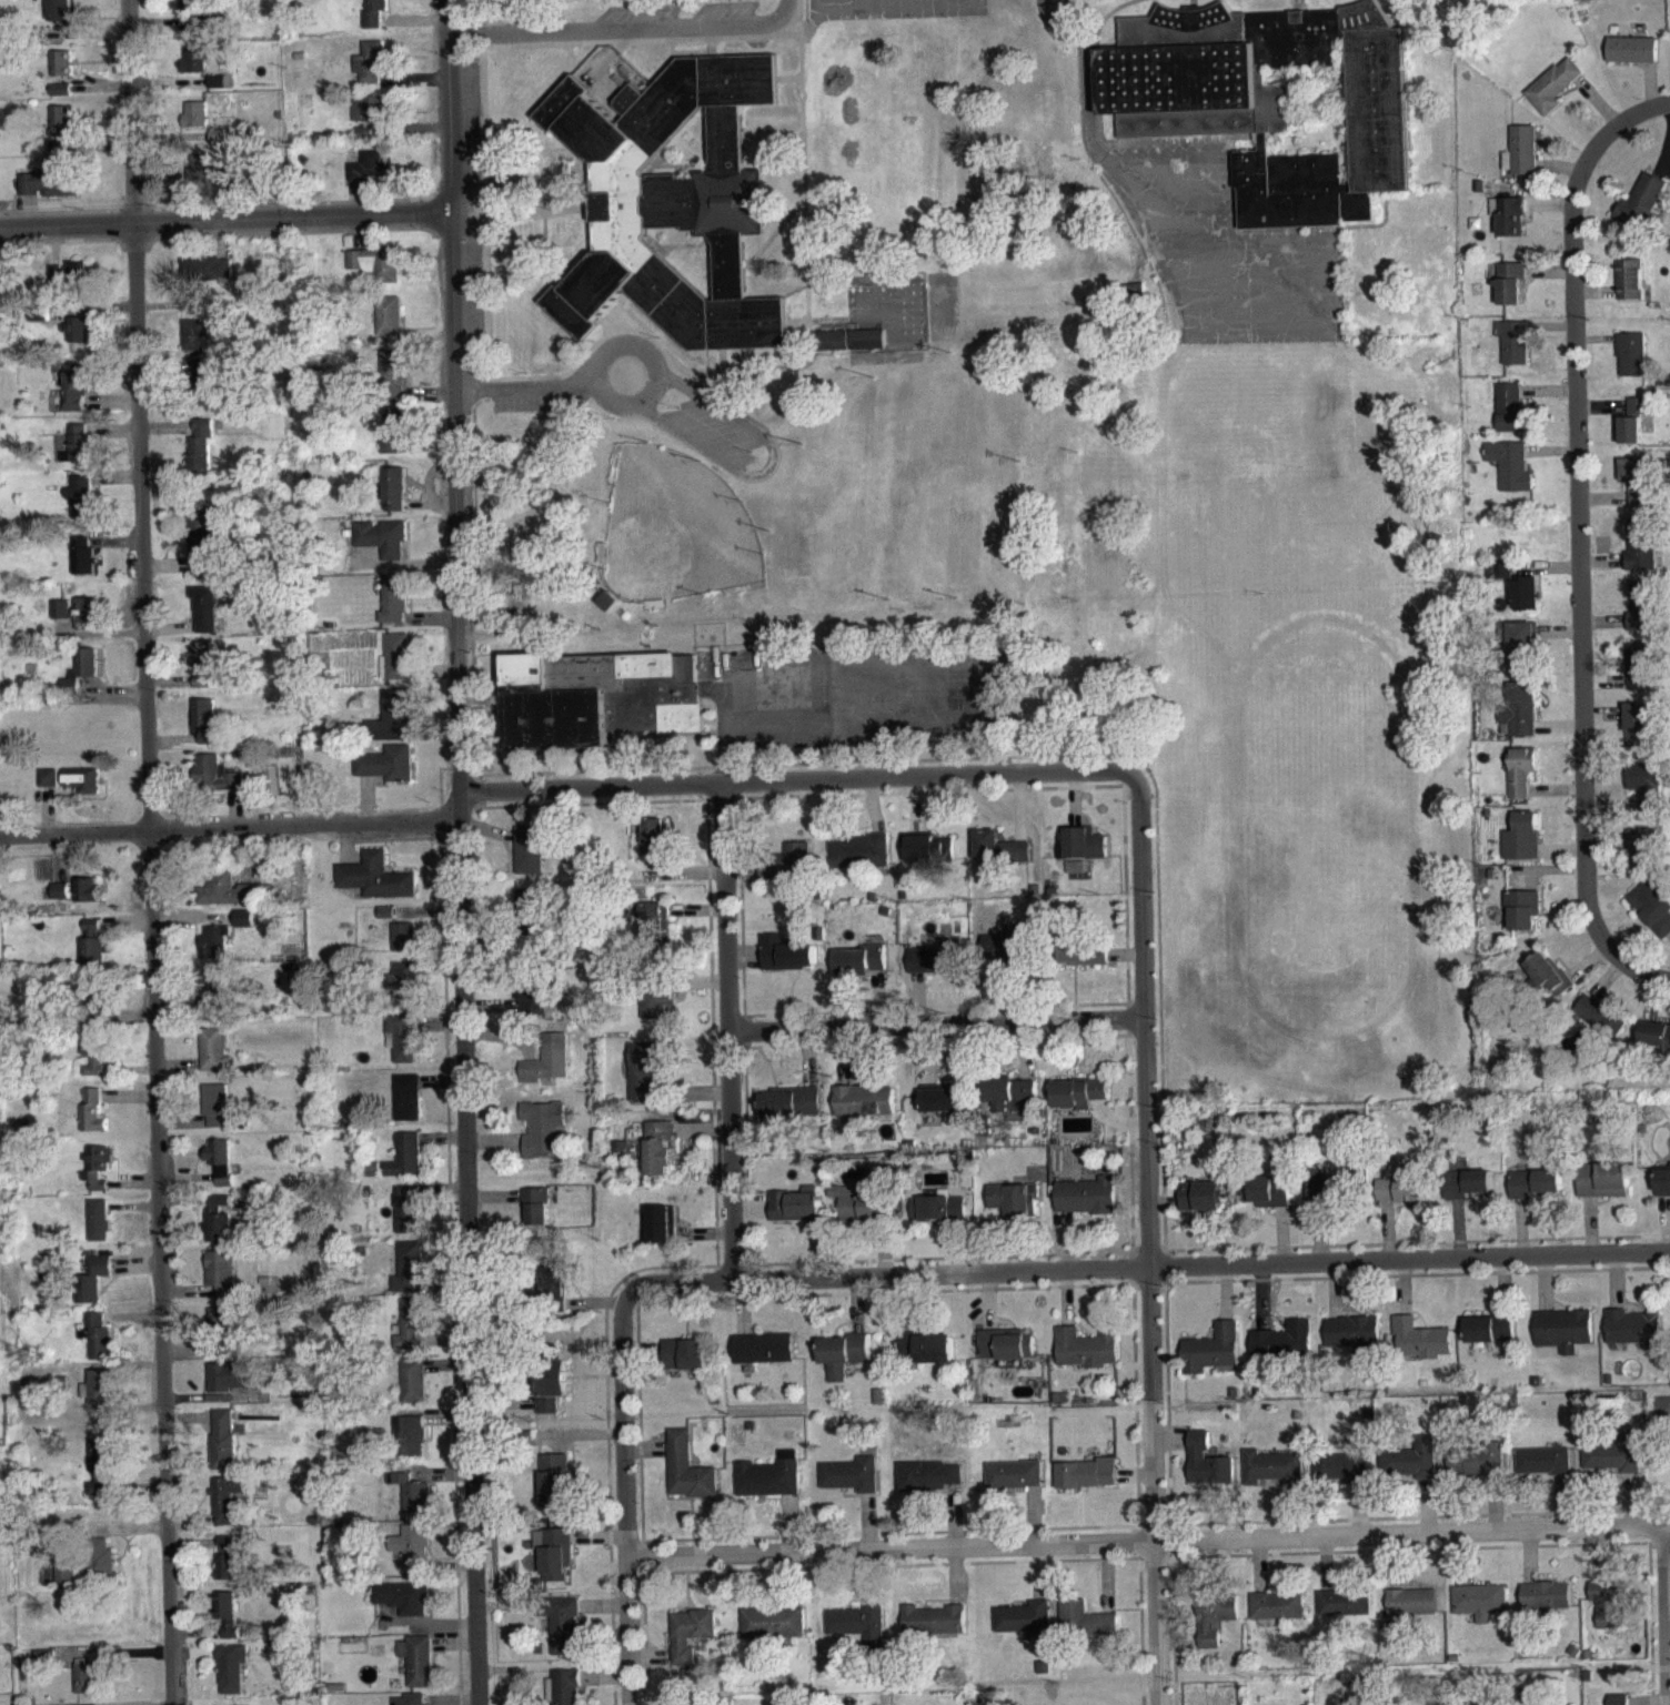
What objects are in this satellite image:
building: (190, 16)
building: (373, 18)
building: (60, 19)
road: (621, 27)
building: (1632, 60)
building: (200, 69)
building: (62, 73)
building: (369, 73)
road: (1085, 81)
building: (217, 92)
building: (1552, 97)
building: (61, 100)
building: (1274, 100)
road: (447, 104)
building: (368, 119)
building: (195, 124)
building: (61, 139)
building: (364, 142)
building: (1521, 161)
building: (369, 175)
building: (200, 180)
building: (49, 194)
building: (668, 194)
building: (1640, 211)
road: (224, 218)
building: (1511, 228)
building: (374, 273)
building: (205, 280)
building: (68, 283)
building: (1629, 290)
building: (1510, 293)
building: (38, 324)
building: (389, 326)
building: (76, 340)
building: (195, 345)
building: (848, 350)
building: (1513, 352)
road: (601, 357)
building: (1631, 365)
building: (393, 380)
road: (527, 385)
road: (651, 389)
building: (207, 390)
building: (77, 397)
building: (1638, 415)
building: (1510, 417)
parking lot: (717, 423)
parking lot: (710, 434)
building: (393, 440)
building: (1630, 441)
building: (80, 453)
building: (200, 455)
road: (768, 464)
building: (1510, 475)
building: (1637, 490)
building: (394, 500)
building: (80, 507)
park: (674, 527)
road: (1577, 545)
building: (381, 547)
building: (204, 549)
building: (1641, 553)
building: (83, 564)
building: (1499, 579)
building: (1525, 604)
building: (394, 611)
building: (205, 618)
building: (1641, 618)
building: (76, 622)
building: (1522, 656)
building: (396, 667)
building: (204, 674)
building: (1639, 676)
building: (80, 682)
building: (598, 708)
building: (1519, 719)
building: (391, 727)
building: (204, 729)
building: (1638, 735)
building: (388, 774)
building: (1521, 781)
building: (215, 784)
road: (560, 786)
building: (48, 788)
building: (81, 790)
building: (1646, 794)
building: (1522, 847)
building: (655, 850)
road: (150, 851)
building: (1082, 854)
building: (999, 858)
building: (530, 859)
building: (929, 859)
building: (1642, 859)
building: (858, 861)
building: (789, 872)
building: (375, 887)
building: (225, 899)
building: (87, 900)
building: (60, 901)
building: (1651, 917)
building: (1522, 920)
building: (655, 931)
building: (404, 947)
building: (92, 952)
building: (213, 954)
road: (461, 957)
building: (1009, 959)
building: (1082, 960)
building: (786, 964)
building: (935, 968)
building: (861, 970)
building: (1548, 982)
building: (402, 991)
building: (210, 1002)
building: (93, 1005)
building: (533, 1007)
building: (658, 1010)
road: (935, 1023)
building: (1601, 1027)
road: (727, 1030)
building: (1654, 1046)
building: (401, 1048)
building: (213, 1060)
building: (95, 1065)
building: (647, 1078)
building: (1009, 1101)
building: (1079, 1103)
building: (406, 1108)
building: (942, 1110)
building: (865, 1111)
building: (793, 1113)
building: (215, 1116)
building: (93, 1121)
building: (543, 1139)
building: (658, 1158)
building: (405, 1167)
building: (221, 1170)
building: (98, 1178)
building: (373, 1179)
building: (1603, 1191)
building: (1536, 1193)
building: (1468, 1194)
building: (1401, 1200)
building: (1267, 1201)
building: (1324, 1201)
building: (1087, 1207)
building: (1200, 1207)
building: (1015, 1209)
building: (863, 1214)
building: (796, 1215)
building: (537, 1217)
building: (938, 1218)
building: (408, 1220)
building: (215, 1229)
building: (99, 1230)
building: (660, 1234)
road: (1148, 1238)
road: (1147, 1265)
building: (411, 1277)
building: (221, 1284)
building: (92, 1290)
building: (554, 1293)
building: (223, 1330)
building: (410, 1333)
building: (1491, 1338)
building: (1634, 1339)
building: (1565, 1340)
building: (1354, 1344)
building: (98, 1346)
building: (1420, 1350)
building: (1284, 1351)
building: (905, 1354)
building: (1006, 1354)
building: (763, 1359)
building: (935, 1359)
building: (1087, 1359)
building: (1213, 1361)
building: (686, 1364)
building: (844, 1364)
building: (230, 1386)
building: (413, 1390)
building: (551, 1399)
building: (100, 1402)
building: (411, 1444)
building: (223, 1450)
building: (1612, 1466)
building: (1411, 1470)
building: (1476, 1470)
building: (1543, 1472)
building: (1207, 1473)
building: (1344, 1474)
building: (101, 1476)
building: (687, 1479)
building: (1271, 1479)
building: (1086, 1484)
building: (851, 1485)
building: (1014, 1485)
building: (769, 1486)
building: (927, 1487)
building: (554, 1490)
road: (624, 1497)
building: (412, 1503)
building: (225, 1509)
road: (1147, 1538)
building: (414, 1560)
building: (554, 1564)
building: (101, 1576)
building: (64, 1584)
building: (1546, 1605)
building: (404, 1607)
building: (1479, 1612)
building: (1344, 1613)
road: (1667, 1614)
building: (1410, 1615)
building: (1277, 1616)
building: (1609, 1616)
building: (228, 1623)
building: (1215, 1628)
building: (933, 1630)
building: (1025, 1630)
building: (1085, 1630)
building: (773, 1633)
building: (856, 1633)
building: (563, 1637)
building: (690, 1644)
building: (417, 1671)
building: (231, 1678)
building: (87, 1688)
building: (563, 1693)
building: (1622, 1704)

